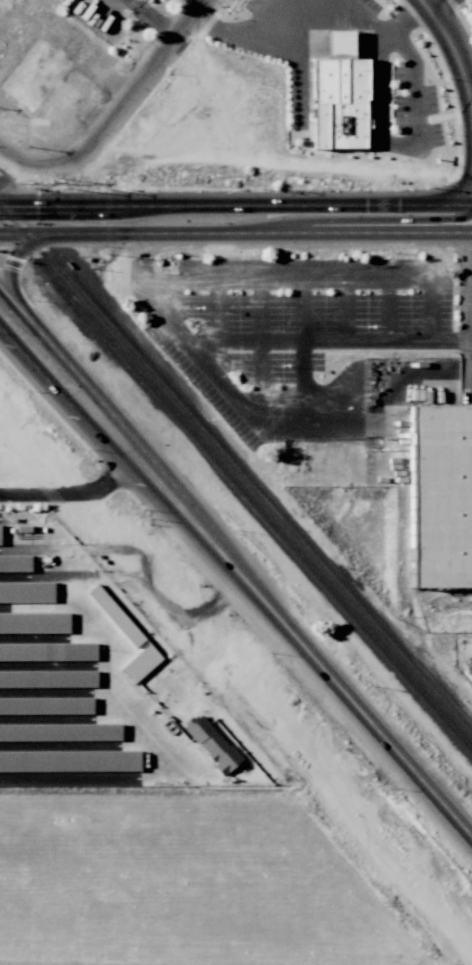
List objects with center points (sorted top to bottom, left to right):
road: (207, 1)
road: (363, 18)
road: (153, 19)
road: (246, 42)
road: (453, 45)
road: (150, 73)
building: (38, 78)
road: (471, 91)
building: (350, 94)
road: (414, 137)
road: (44, 161)
road: (236, 206)
road: (375, 221)
road: (235, 235)
road: (145, 247)
road: (2, 269)
road: (319, 280)
road: (345, 310)
road: (216, 311)
road: (389, 311)
road: (470, 320)
road: (44, 333)
road: (313, 340)
road: (450, 342)
road: (261, 351)
road: (304, 351)
road: (30, 366)
road: (278, 423)
railway: (235, 470)
railway: (236, 484)
road: (40, 493)
building: (441, 495)
building: (0, 535)
building: (15, 563)
railway: (237, 582)
building: (27, 592)
building: (115, 616)
road: (270, 620)
building: (34, 622)
building: (48, 651)
building: (140, 664)
building: (48, 678)
road: (119, 690)
building: (46, 705)
building: (60, 732)
building: (211, 744)
building: (69, 761)

